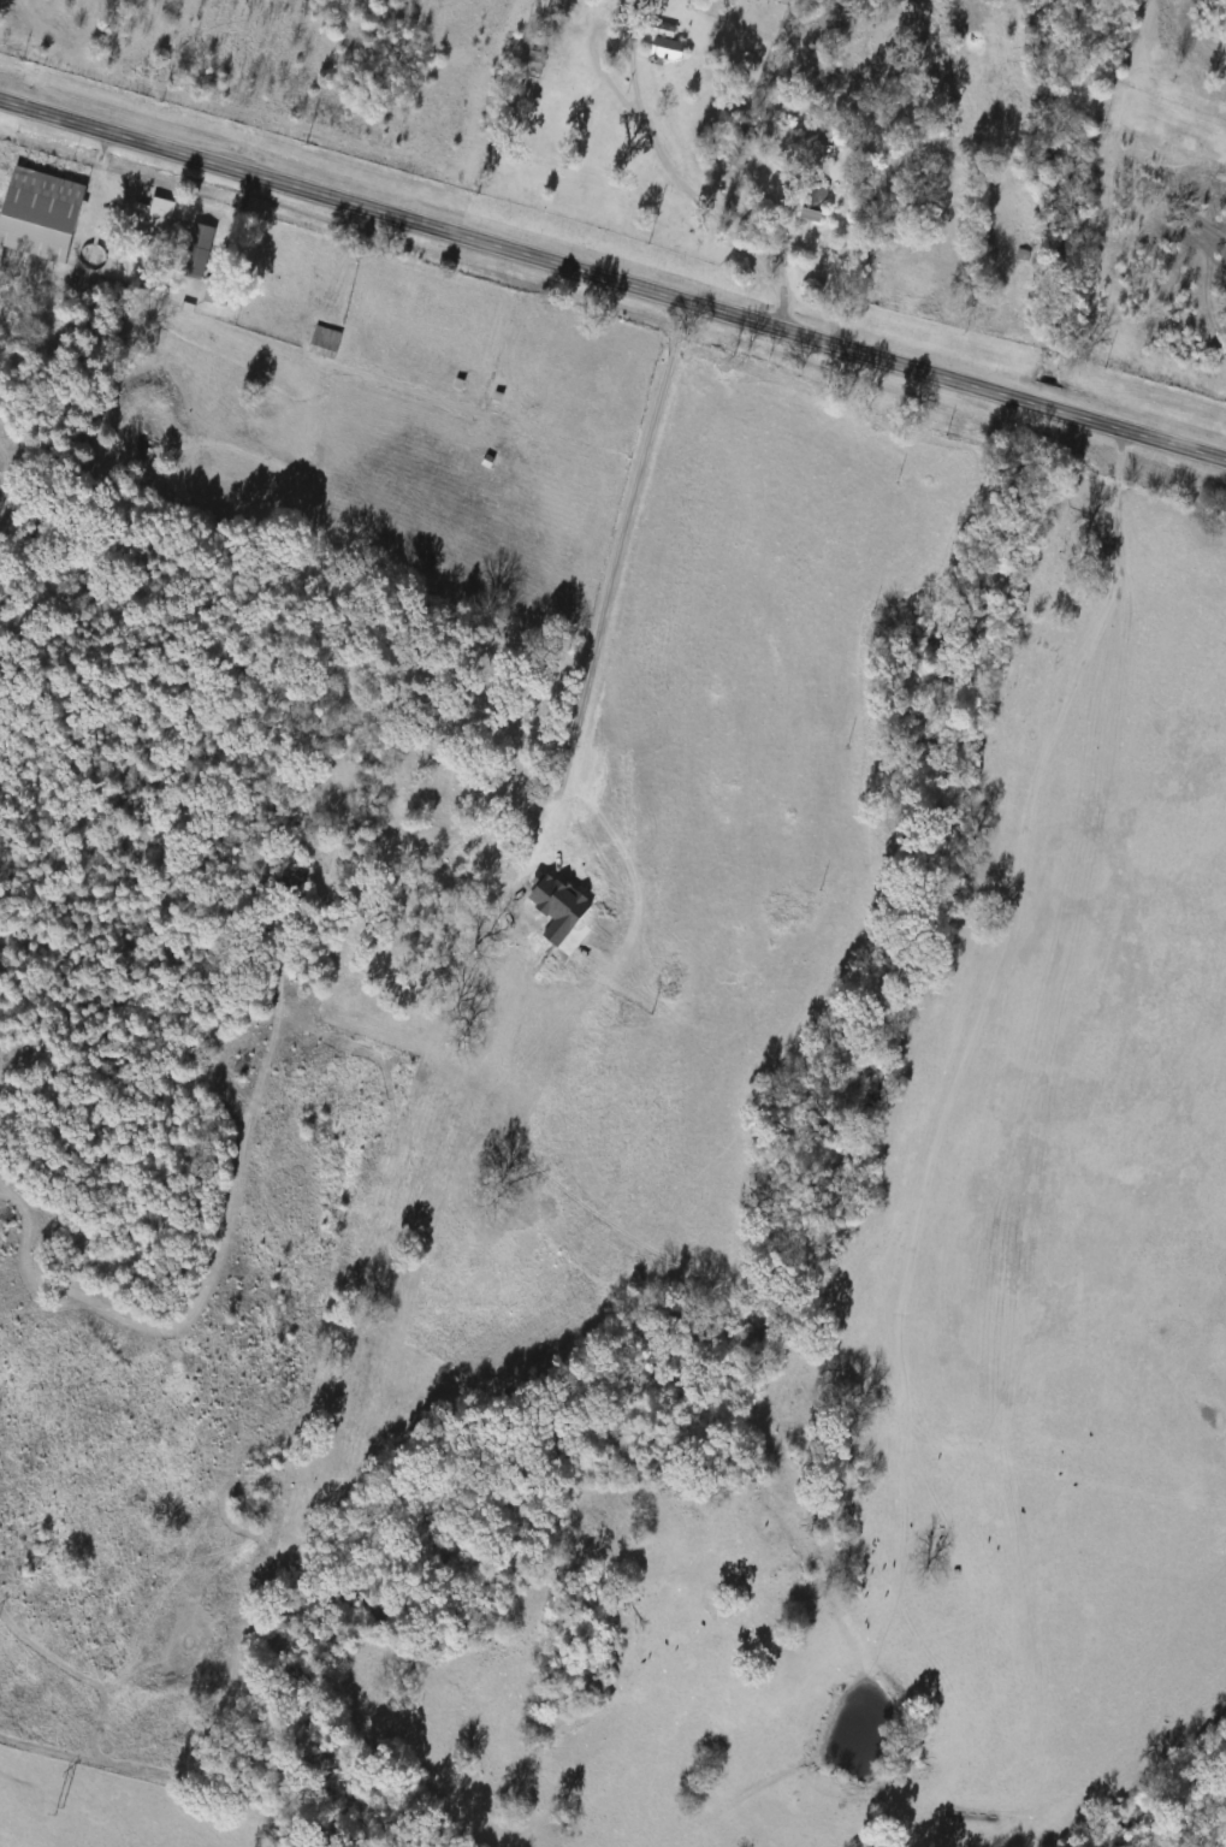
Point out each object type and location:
building: (668, 49)
building: (534, 61)
road: (646, 114)
building: (42, 214)
building: (199, 244)
road: (612, 278)
road: (787, 280)
building: (218, 292)
building: (325, 342)
power tower: (55, 1810)

